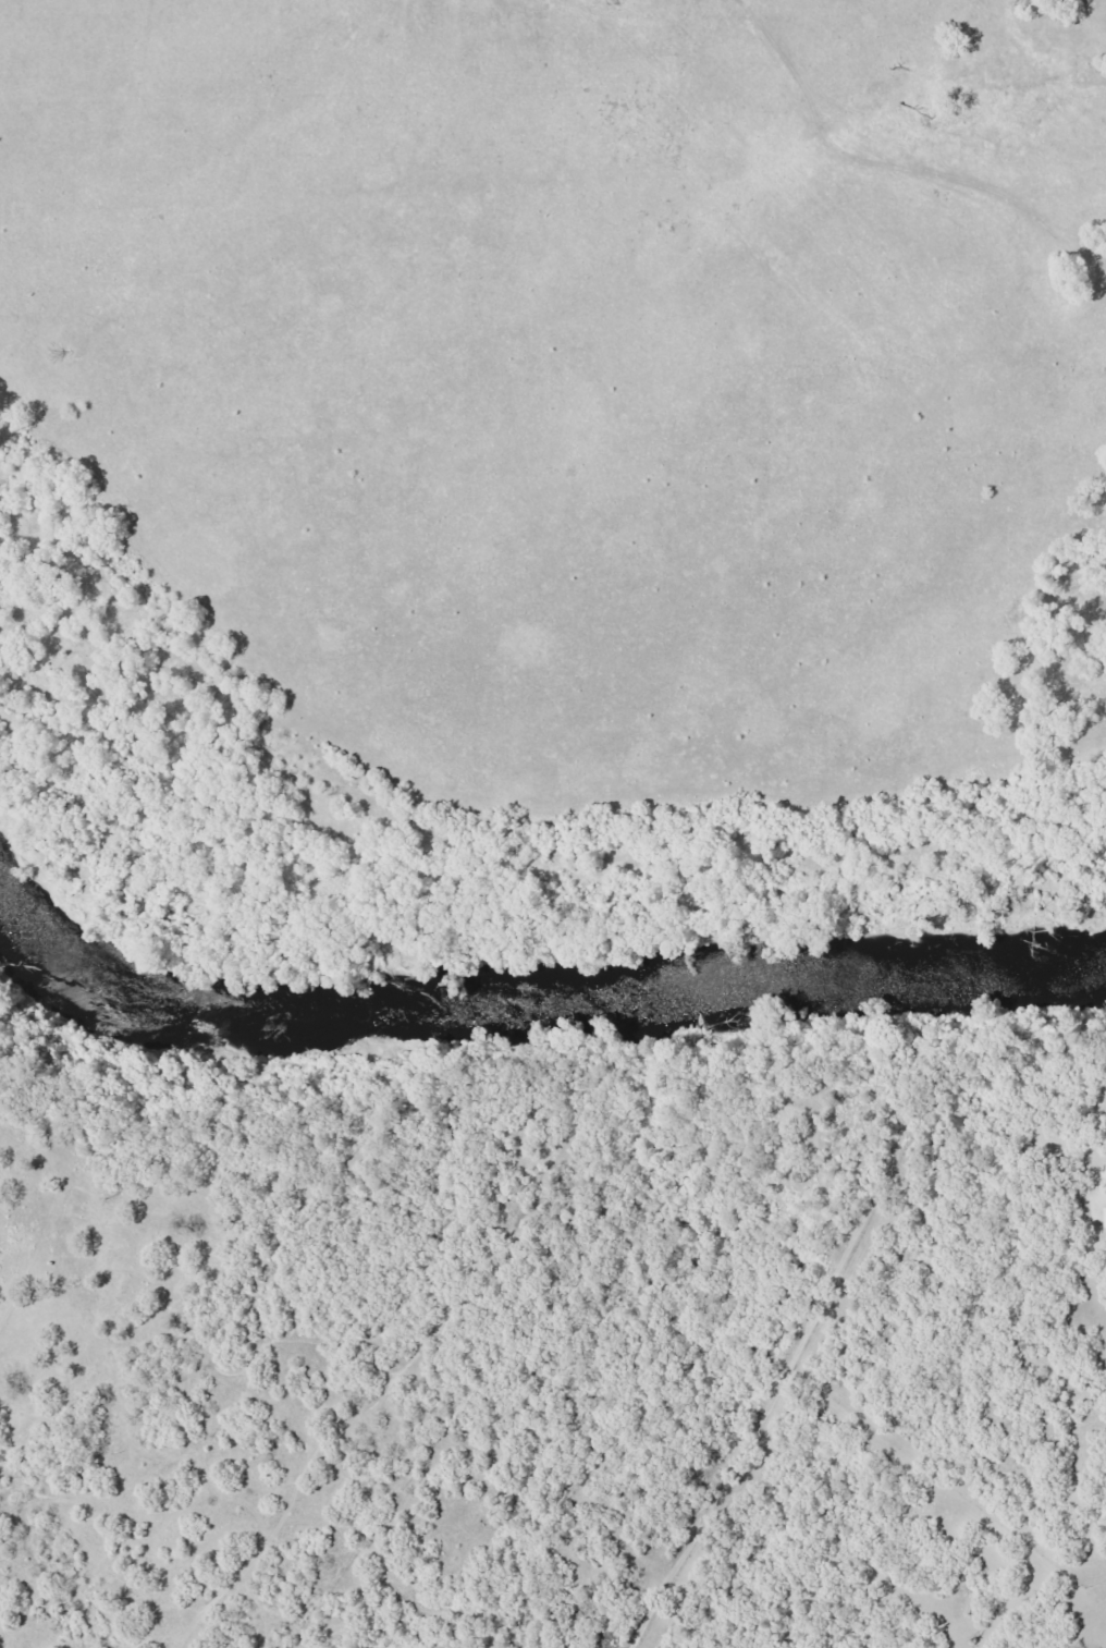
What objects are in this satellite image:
road: (894, 192)
road: (1094, 340)
road: (513, 789)
river: (534, 998)
building: (1104, 1217)
road: (316, 1416)

